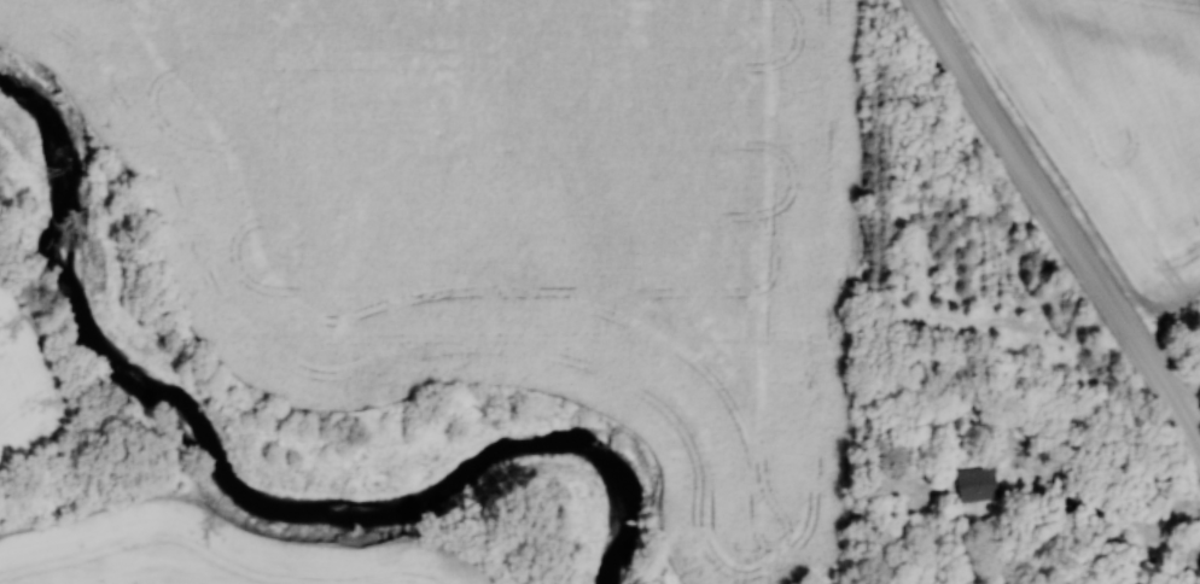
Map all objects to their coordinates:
road: (1056, 220)
building: (1072, 484)
building: (975, 485)
river: (258, 496)
road: (1106, 516)
building: (1117, 539)

